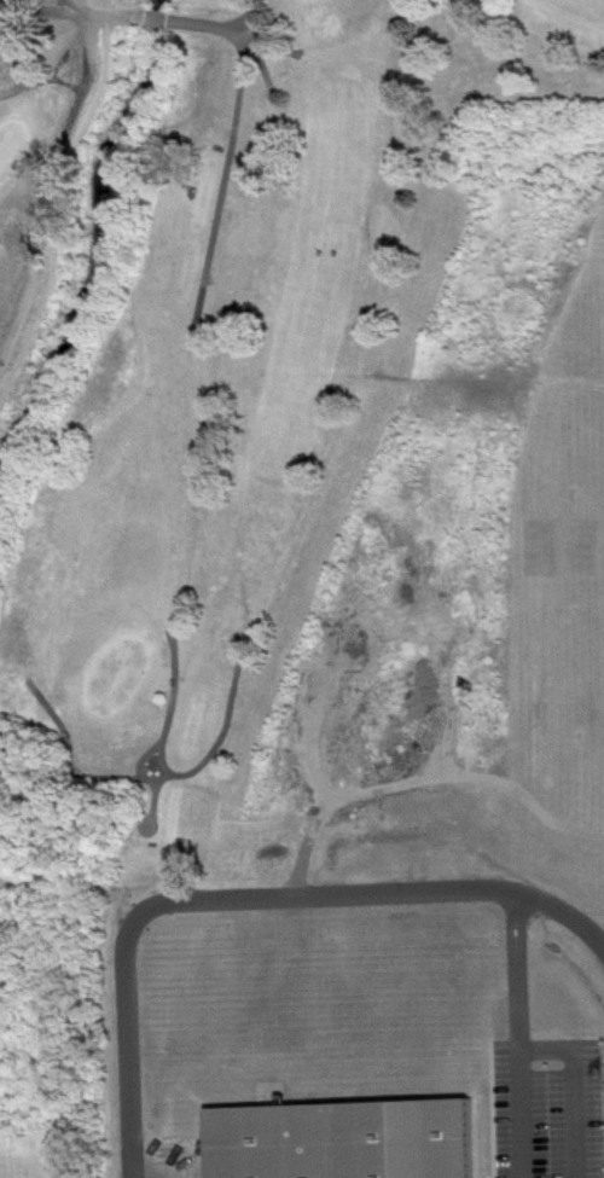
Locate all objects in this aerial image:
park: (313, 2)
park: (14, 158)
park: (205, 327)
park: (122, 685)
road: (251, 907)
road: (523, 1040)
road: (574, 1091)
building: (350, 1145)
park: (33, 1159)

